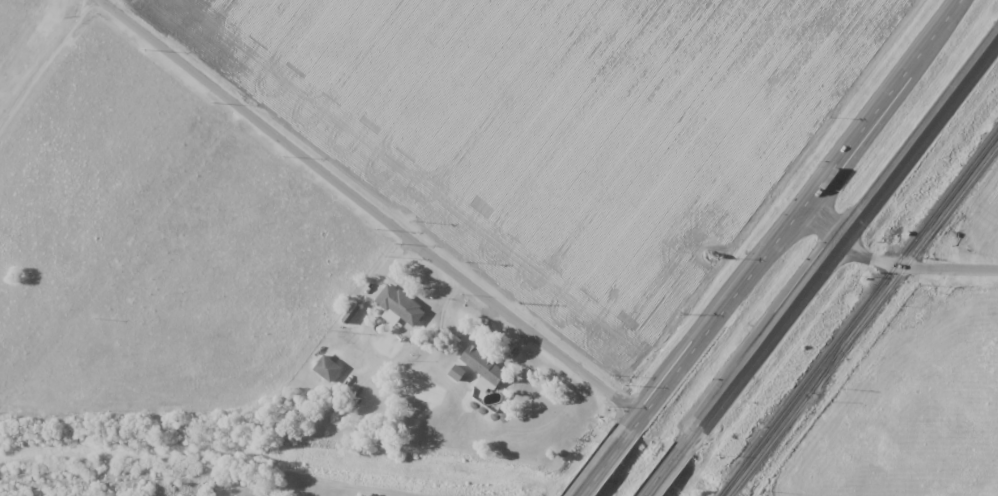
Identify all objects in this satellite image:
road: (887, 105)
road: (921, 140)
road: (391, 228)
road: (895, 263)
building: (398, 306)
railway: (858, 312)
railway: (864, 320)
railway: (839, 346)
road: (695, 351)
building: (483, 365)
road: (750, 369)

